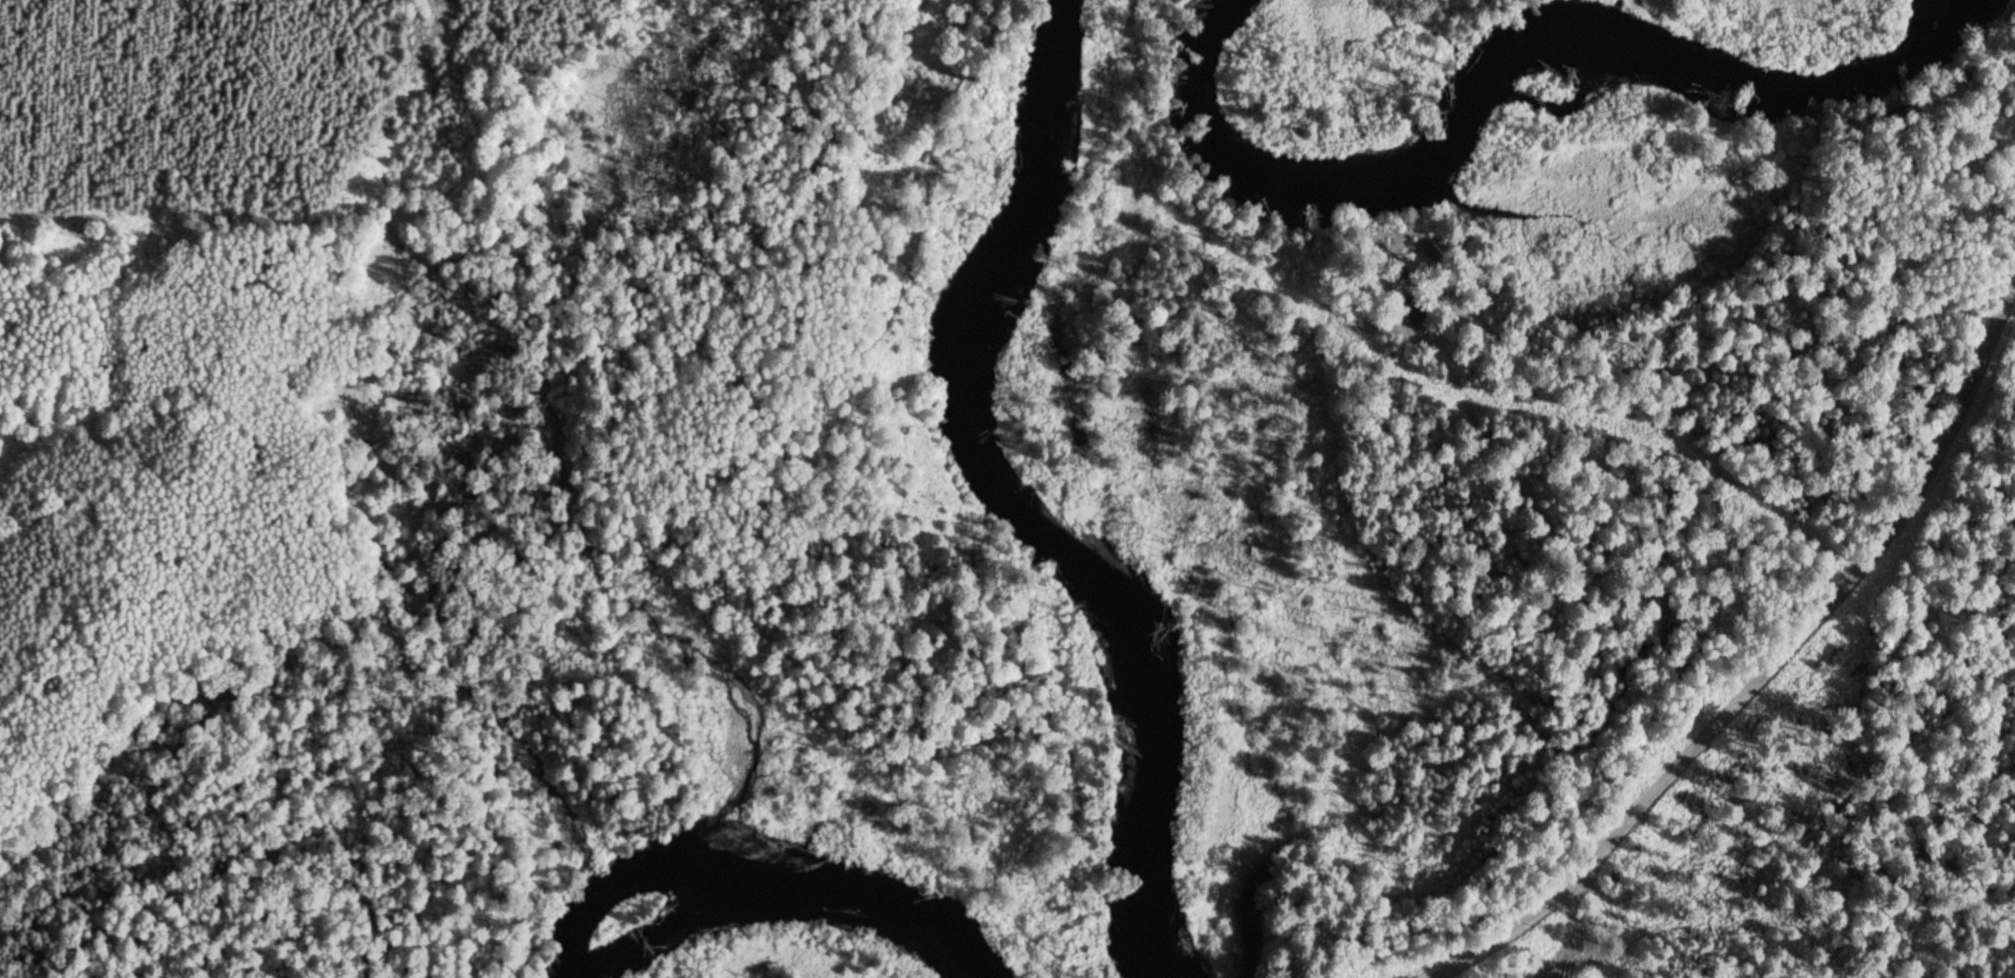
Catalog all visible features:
building: (930, 6)
river: (1503, 56)
river: (1009, 225)
building: (1427, 248)
building: (1410, 309)
road: (1774, 661)
river: (1146, 680)
river: (770, 889)

